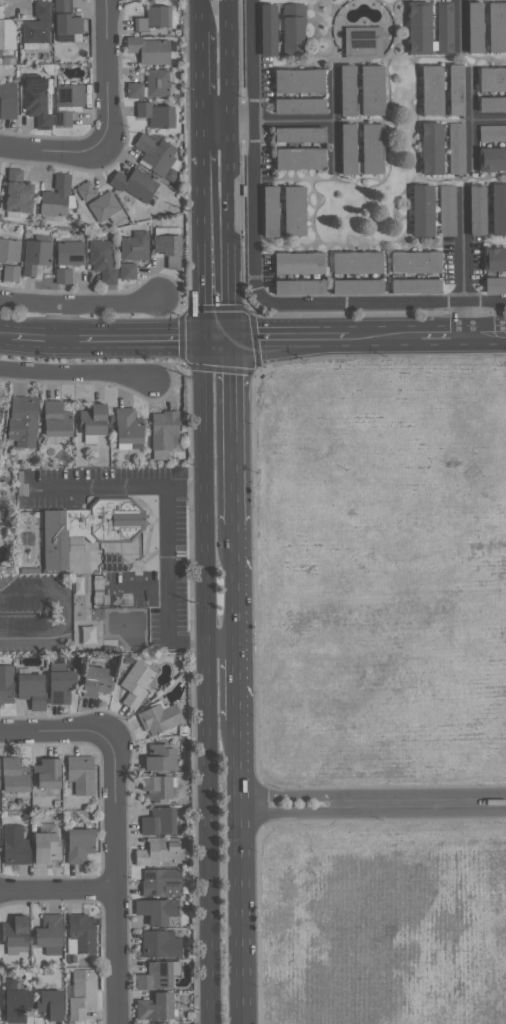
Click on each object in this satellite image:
road: (200, 13)
building: (152, 18)
building: (66, 22)
road: (461, 23)
building: (37, 24)
building: (474, 27)
building: (496, 27)
building: (429, 29)
building: (268, 30)
building: (293, 30)
building: (6, 32)
building: (362, 42)
building: (34, 46)
building: (149, 50)
road: (103, 73)
road: (202, 75)
building: (492, 79)
building: (298, 81)
building: (156, 83)
building: (134, 90)
building: (347, 90)
building: (456, 90)
building: (371, 91)
building: (7, 100)
building: (37, 102)
building: (67, 103)
building: (492, 104)
building: (299, 106)
building: (155, 114)
road: (334, 121)
road: (489, 122)
road: (268, 123)
road: (472, 123)
building: (492, 132)
building: (299, 135)
road: (203, 137)
building: (431, 148)
building: (456, 148)
building: (348, 149)
building: (371, 149)
road: (53, 152)
building: (157, 156)
building: (300, 159)
building: (492, 159)
road: (230, 168)
building: (1, 181)
building: (134, 184)
building: (85, 191)
building: (17, 192)
building: (55, 197)
building: (498, 209)
building: (294, 210)
building: (422, 210)
building: (447, 210)
building: (477, 210)
building: (269, 211)
road: (204, 243)
building: (166, 245)
building: (134, 246)
building: (9, 250)
building: (69, 253)
building: (35, 256)
building: (494, 259)
building: (102, 260)
road: (461, 261)
building: (415, 262)
building: (299, 263)
building: (357, 263)
building: (127, 271)
building: (10, 273)
building: (62, 275)
road: (257, 275)
building: (495, 285)
building: (357, 286)
building: (415, 286)
building: (299, 287)
road: (80, 302)
road: (58, 318)
road: (6, 330)
road: (35, 332)
road: (442, 333)
road: (484, 333)
road: (68, 334)
road: (385, 334)
road: (142, 336)
road: (290, 336)
traffic signals: (205, 337)
road: (218, 337)
traffic signals: (231, 337)
road: (76, 372)
building: (1, 418)
building: (56, 419)
building: (22, 421)
building: (93, 423)
building: (128, 429)
building: (163, 429)
road: (232, 430)
road: (124, 488)
road: (207, 491)
building: (85, 526)
road: (234, 584)
building: (78, 585)
road: (167, 586)
road: (63, 612)
building: (88, 634)
road: (221, 646)
building: (90, 681)
road: (235, 682)
building: (4, 684)
building: (132, 685)
building: (57, 686)
building: (28, 689)
building: (156, 717)
road: (53, 731)
building: (155, 758)
building: (42, 774)
building: (76, 775)
building: (11, 776)
building: (155, 788)
road: (371, 808)
building: (155, 822)
road: (210, 835)
building: (42, 844)
building: (75, 845)
building: (11, 846)
building: (156, 852)
road: (237, 871)
road: (115, 880)
building: (158, 883)
road: (58, 890)
building: (153, 911)
building: (18, 931)
building: (82, 933)
building: (53, 934)
building: (157, 944)
building: (155, 975)
building: (84, 994)
building: (18, 1002)
building: (53, 1005)
building: (150, 1007)
building: (156, 1023)

